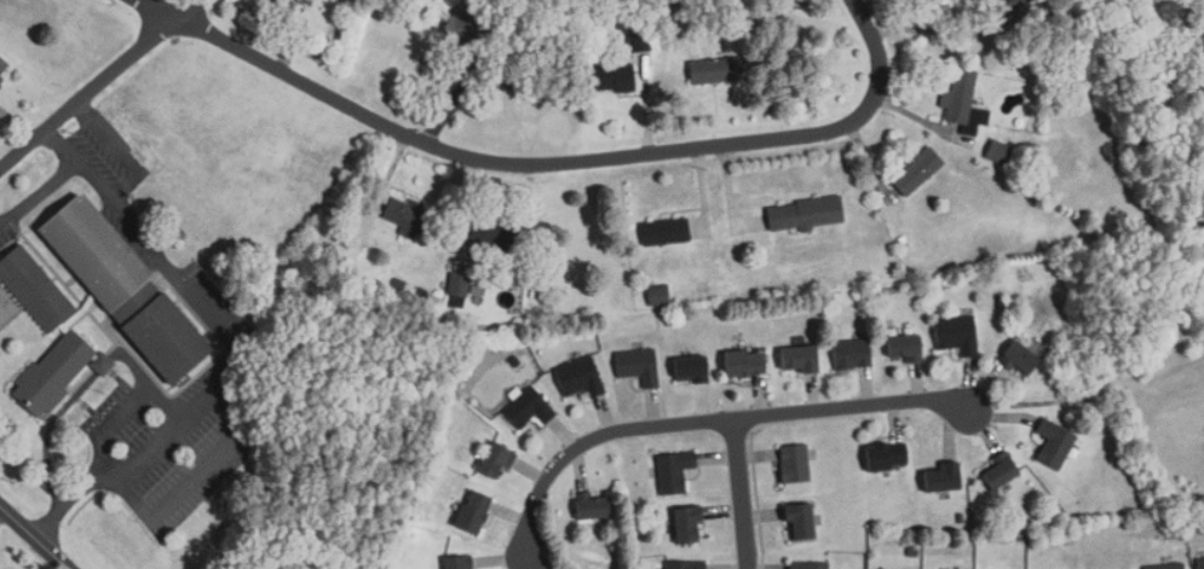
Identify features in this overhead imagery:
building: (1009, 5)
building: (290, 8)
building: (462, 30)
road: (935, 30)
building: (636, 41)
park: (1176, 58)
building: (5, 68)
building: (712, 71)
building: (612, 77)
road: (98, 82)
building: (961, 100)
road: (108, 134)
building: (997, 151)
road: (553, 162)
building: (916, 172)
road: (38, 191)
building: (802, 213)
building: (411, 216)
building: (666, 232)
building: (499, 238)
building: (93, 252)
building: (459, 284)
building: (34, 288)
building: (657, 295)
building: (956, 333)
building: (166, 337)
road: (235, 344)
building: (903, 347)
building: (851, 353)
building: (1021, 355)
building: (797, 358)
building: (743, 362)
building: (638, 365)
building: (687, 368)
building: (52, 373)
building: (581, 377)
road: (161, 397)
road: (65, 405)
building: (529, 408)
road: (115, 419)
road: (714, 422)
building: (1053, 443)
building: (885, 455)
building: (499, 460)
building: (793, 463)
building: (998, 470)
building: (673, 471)
building: (941, 476)
road: (742, 494)
road: (171, 503)
building: (593, 506)
building: (477, 511)
building: (797, 521)
building: (685, 524)
road: (35, 536)
building: (459, 563)
building: (1199, 563)
building: (684, 564)
building: (807, 565)
building: (1165, 565)

